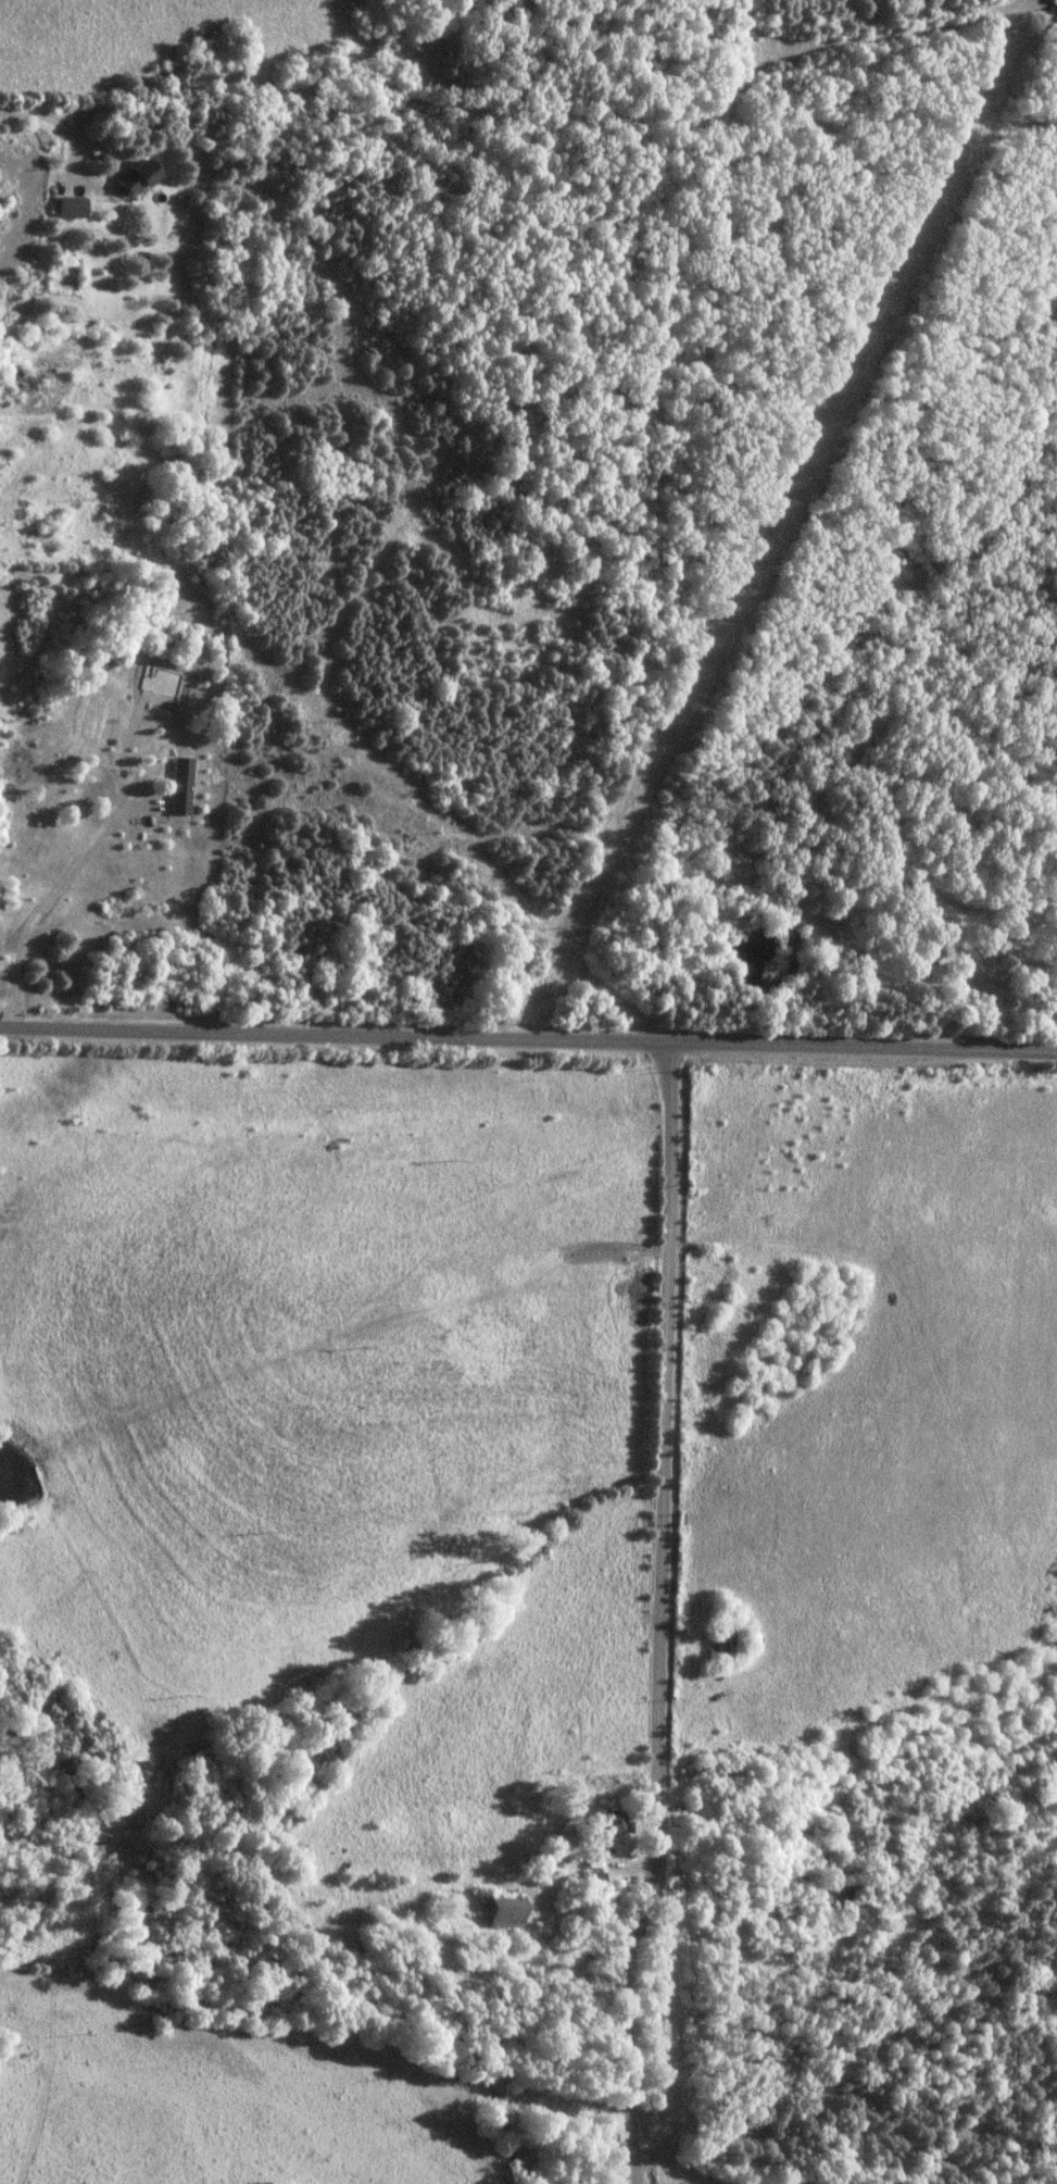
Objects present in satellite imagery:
road: (52, 121)
building: (126, 177)
building: (62, 208)
building: (179, 786)
road: (41, 893)
road: (528, 1043)
road: (660, 1615)
building: (727, 1639)
building: (614, 1821)
building: (500, 1910)

